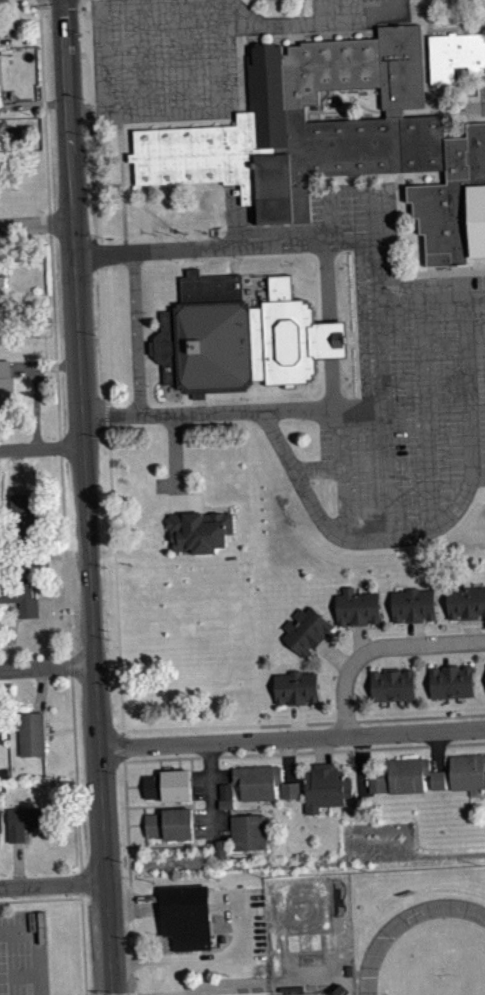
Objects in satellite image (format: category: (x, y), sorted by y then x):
road: (80, 1)
road: (42, 4)
road: (111, 5)
road: (300, 12)
road: (321, 23)
road: (458, 24)
road: (339, 32)
building: (455, 54)
road: (187, 58)
road: (145, 59)
parking lot: (164, 61)
road: (482, 108)
road: (43, 109)
road: (440, 110)
road: (203, 113)
building: (333, 139)
road: (114, 157)
building: (0, 181)
road: (121, 187)
road: (330, 213)
road: (34, 222)
road: (48, 223)
road: (165, 224)
road: (222, 247)
road: (230, 258)
street lamp: (241, 259)
street lamp: (176, 261)
street lamp: (291, 261)
road: (283, 263)
road: (316, 266)
road: (230, 269)
road: (430, 272)
road: (299, 273)
road: (324, 281)
road: (459, 281)
street lamp: (398, 291)
building: (6, 295)
road: (430, 301)
street lamp: (145, 311)
road: (135, 333)
building: (294, 335)
road: (54, 336)
building: (210, 336)
road: (327, 338)
road: (103, 362)
road: (379, 363)
building: (6, 382)
road: (330, 382)
parking lot: (402, 382)
street lamp: (148, 384)
street lamp: (404, 392)
street lamp: (247, 398)
street lamp: (182, 401)
road: (360, 405)
road: (208, 412)
road: (426, 414)
road: (59, 447)
road: (40, 448)
road: (175, 456)
road: (316, 468)
road: (479, 471)
road: (341, 474)
street lamp: (407, 478)
street lamp: (314, 482)
road: (83, 497)
building: (23, 516)
road: (431, 527)
building: (200, 530)
road: (65, 555)
building: (20, 596)
building: (466, 602)
building: (413, 604)
building: (356, 607)
building: (305, 630)
road: (378, 647)
road: (70, 665)
road: (46, 669)
building: (451, 681)
building: (393, 684)
building: (296, 687)
road: (304, 723)
building: (2, 729)
building: (31, 733)
road: (292, 739)
road: (466, 743)
road: (123, 745)
road: (285, 751)
road: (179, 763)
road: (160, 764)
road: (191, 764)
road: (75, 770)
building: (467, 772)
building: (406, 775)
building: (263, 782)
building: (168, 784)
road: (134, 785)
building: (325, 786)
road: (162, 801)
building: (226, 803)
road: (162, 804)
building: (27, 820)
building: (170, 823)
road: (136, 824)
building: (249, 831)
road: (164, 844)
building: (220, 847)
building: (223, 854)
road: (128, 865)
road: (80, 881)
road: (53, 884)
road: (40, 899)
building: (185, 915)
road: (37, 943)
track: (378, 945)
road: (83, 946)
parking lot: (23, 953)
road: (19, 973)
road: (134, 983)
park: (310, 993)

